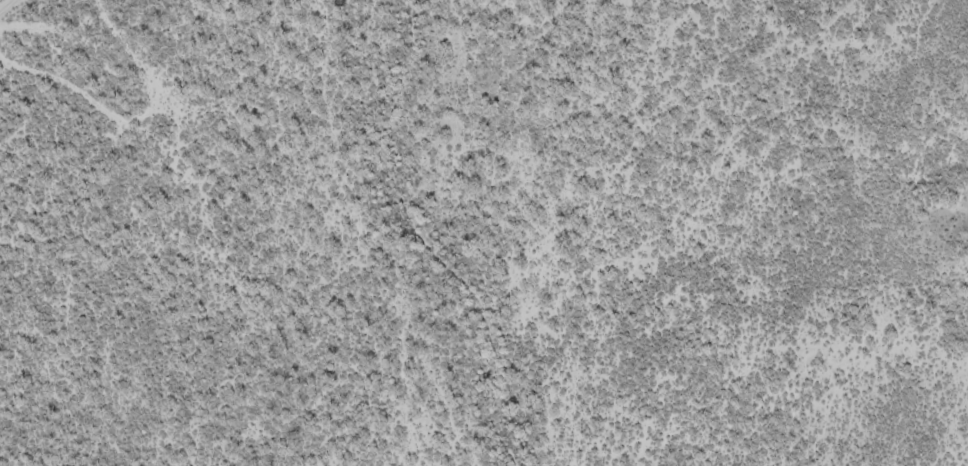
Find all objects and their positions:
road: (6, 6)

